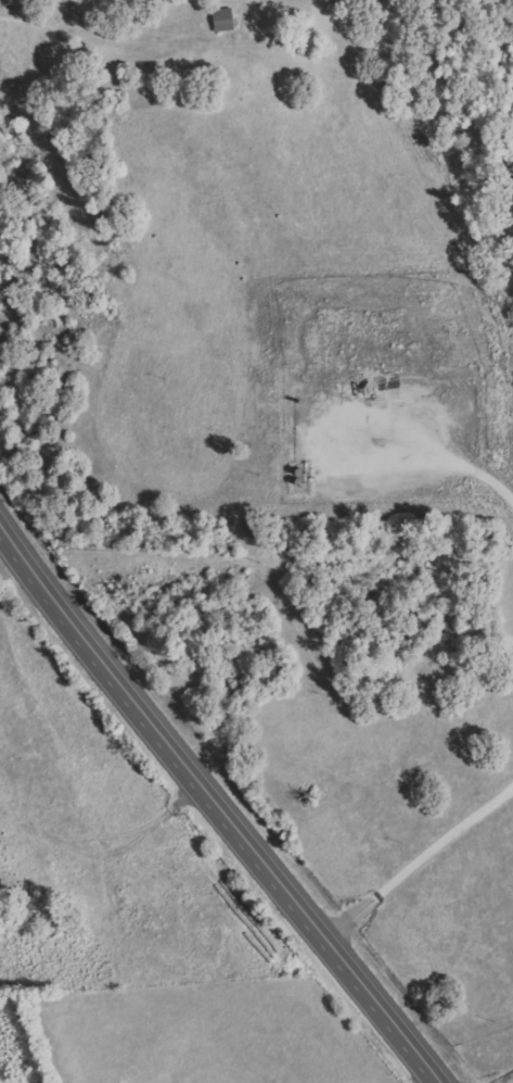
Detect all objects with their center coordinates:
building: (222, 18)
road: (502, 143)
road: (336, 148)
road: (219, 799)

